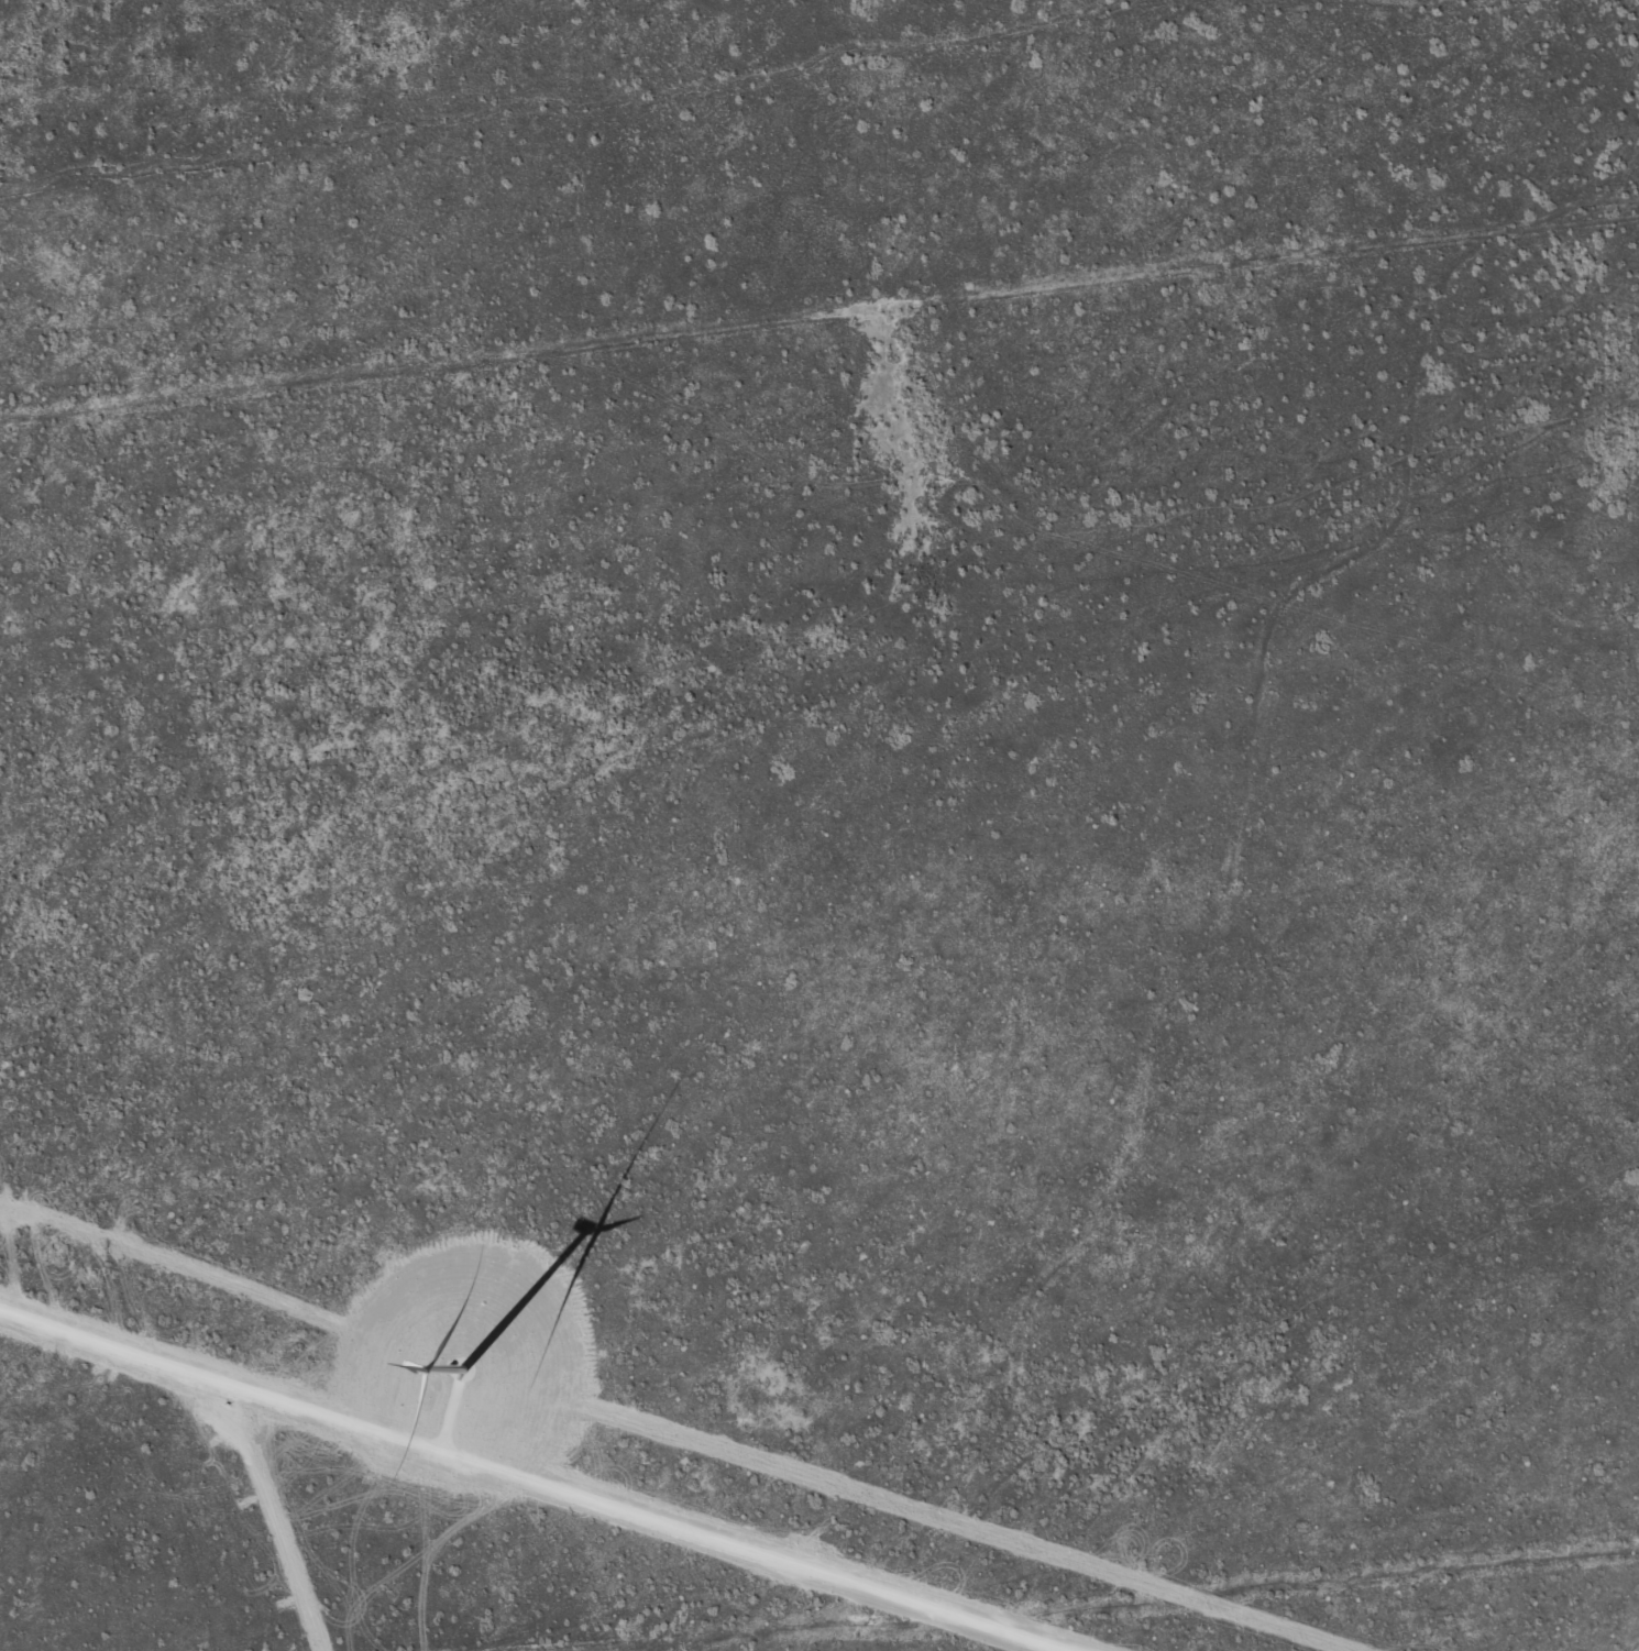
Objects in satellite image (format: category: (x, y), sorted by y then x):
wind turbine: (448, 1364)

